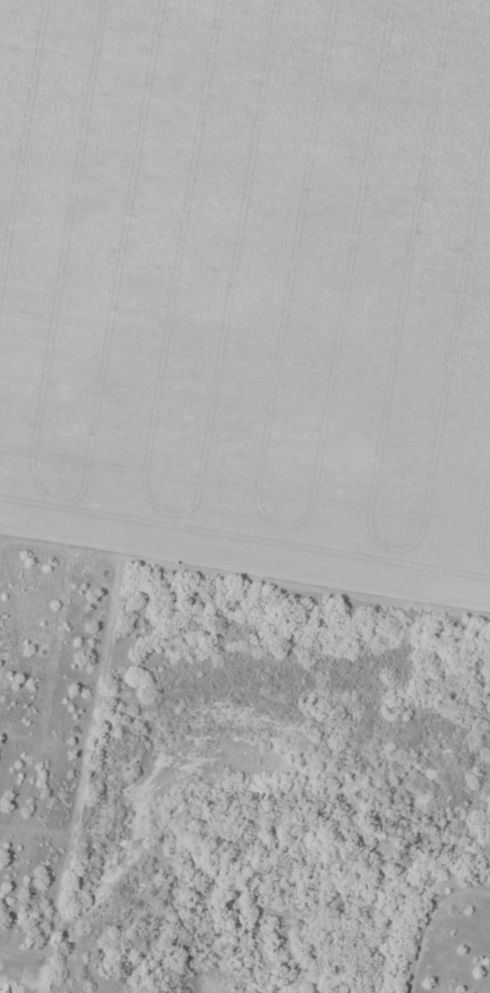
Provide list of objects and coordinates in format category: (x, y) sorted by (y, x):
building: (10, 988)

